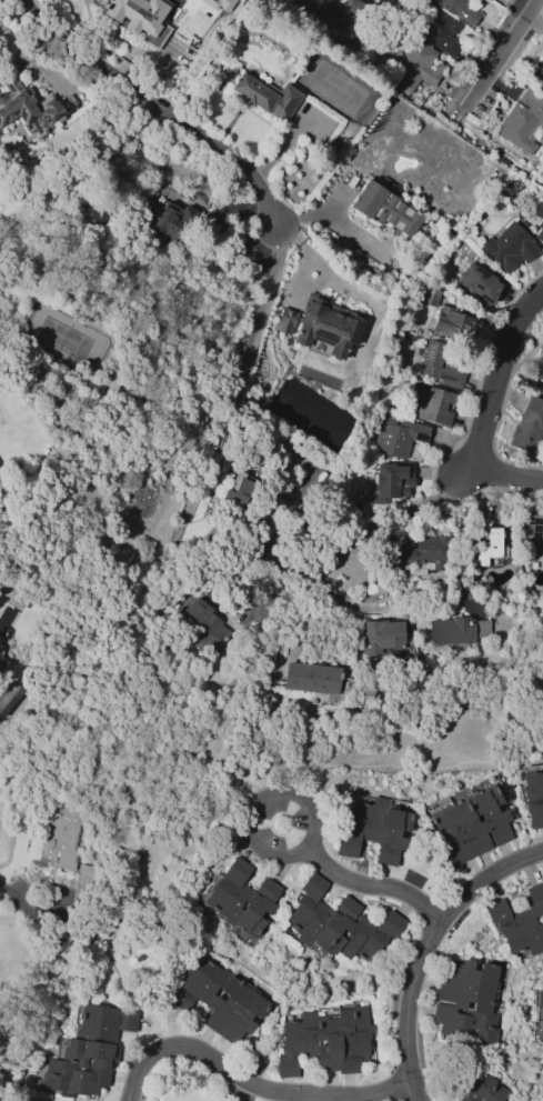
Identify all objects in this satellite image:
building: (371, 1)
building: (219, 4)
building: (457, 10)
building: (338, 17)
building: (139, 18)
building: (438, 28)
road: (495, 59)
building: (421, 64)
building: (539, 72)
building: (265, 97)
road: (161, 103)
building: (27, 109)
building: (520, 127)
building: (383, 209)
building: (540, 209)
building: (90, 214)
building: (168, 220)
road: (335, 224)
building: (540, 234)
building: (510, 248)
road: (310, 250)
building: (481, 284)
building: (322, 326)
building: (456, 326)
building: (541, 346)
building: (441, 366)
road: (233, 373)
building: (540, 373)
building: (435, 406)
building: (532, 412)
road: (489, 413)
building: (398, 437)
building: (390, 484)
building: (233, 499)
building: (532, 531)
road: (359, 538)
building: (487, 547)
building: (421, 552)
building: (205, 625)
building: (452, 631)
building: (381, 637)
building: (1, 662)
building: (315, 679)
building: (8, 698)
road: (410, 765)
building: (533, 795)
road: (315, 820)
building: (472, 824)
building: (58, 843)
road: (147, 887)
building: (84, 888)
road: (16, 889)
building: (269, 890)
building: (239, 899)
building: (349, 908)
building: (315, 917)
building: (520, 922)
road: (428, 951)
building: (469, 984)
building: (219, 1001)
building: (541, 1002)
building: (542, 1033)
building: (325, 1042)
building: (86, 1053)
road: (255, 1085)
building: (486, 1091)

